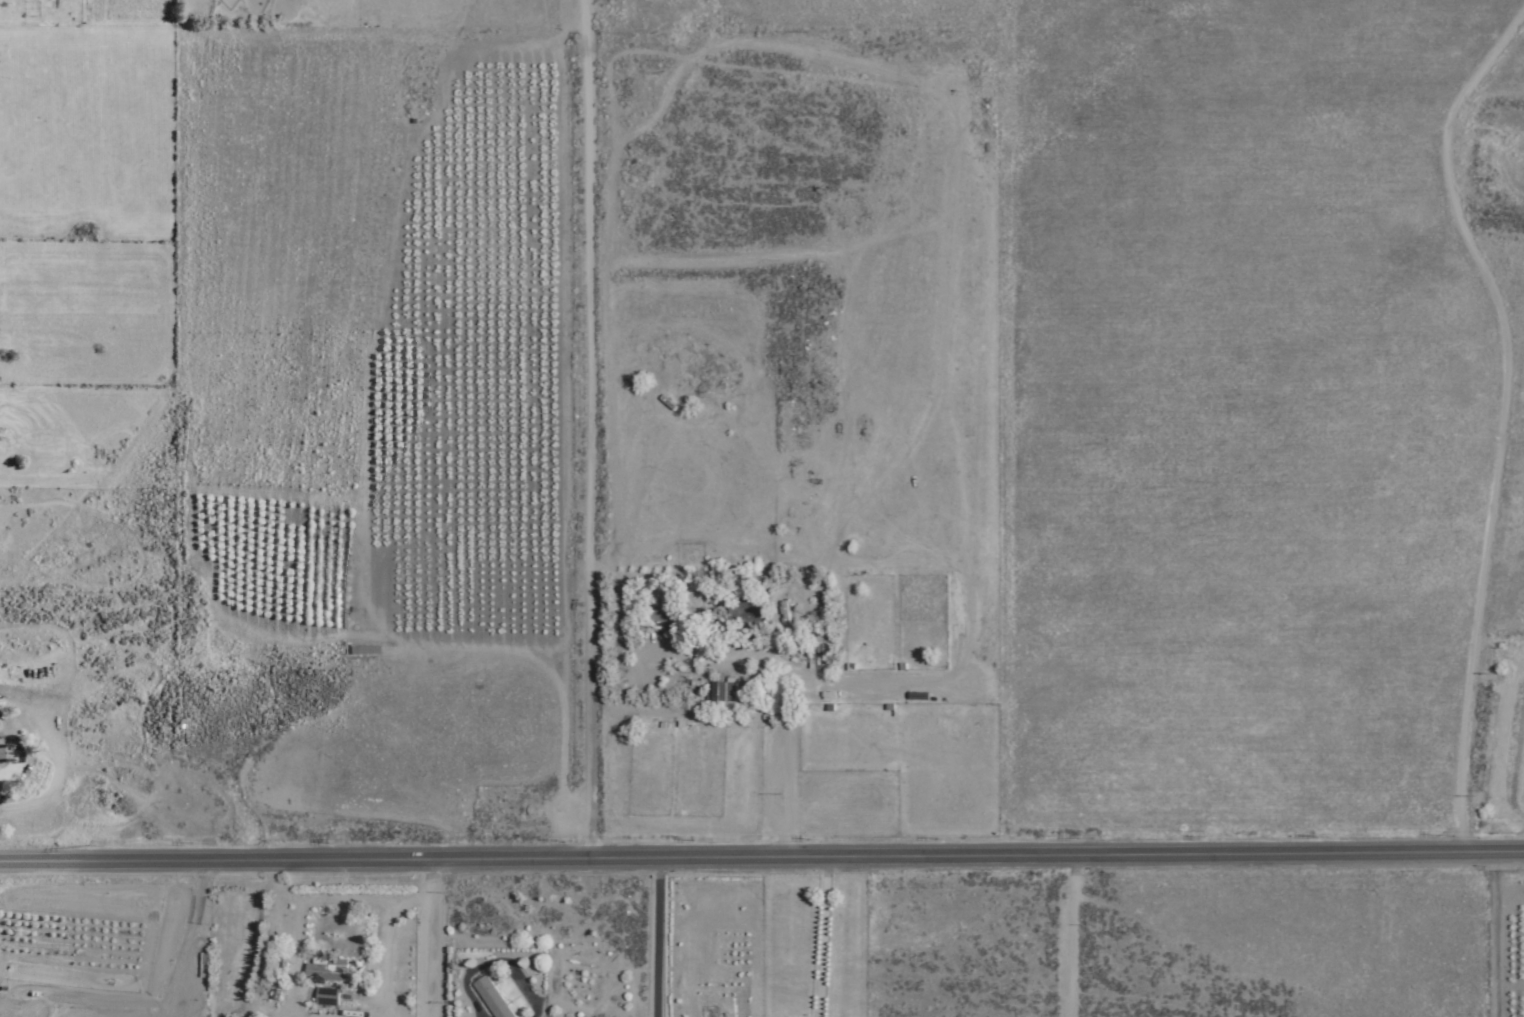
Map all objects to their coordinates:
road: (1503, 418)
road: (588, 424)
building: (747, 612)
building: (703, 613)
building: (664, 615)
building: (357, 650)
road: (731, 661)
building: (721, 691)
building: (0, 764)
road: (761, 848)
road: (651, 932)
road: (1071, 932)
road: (430, 934)
building: (324, 972)
building: (491, 997)
building: (326, 998)

